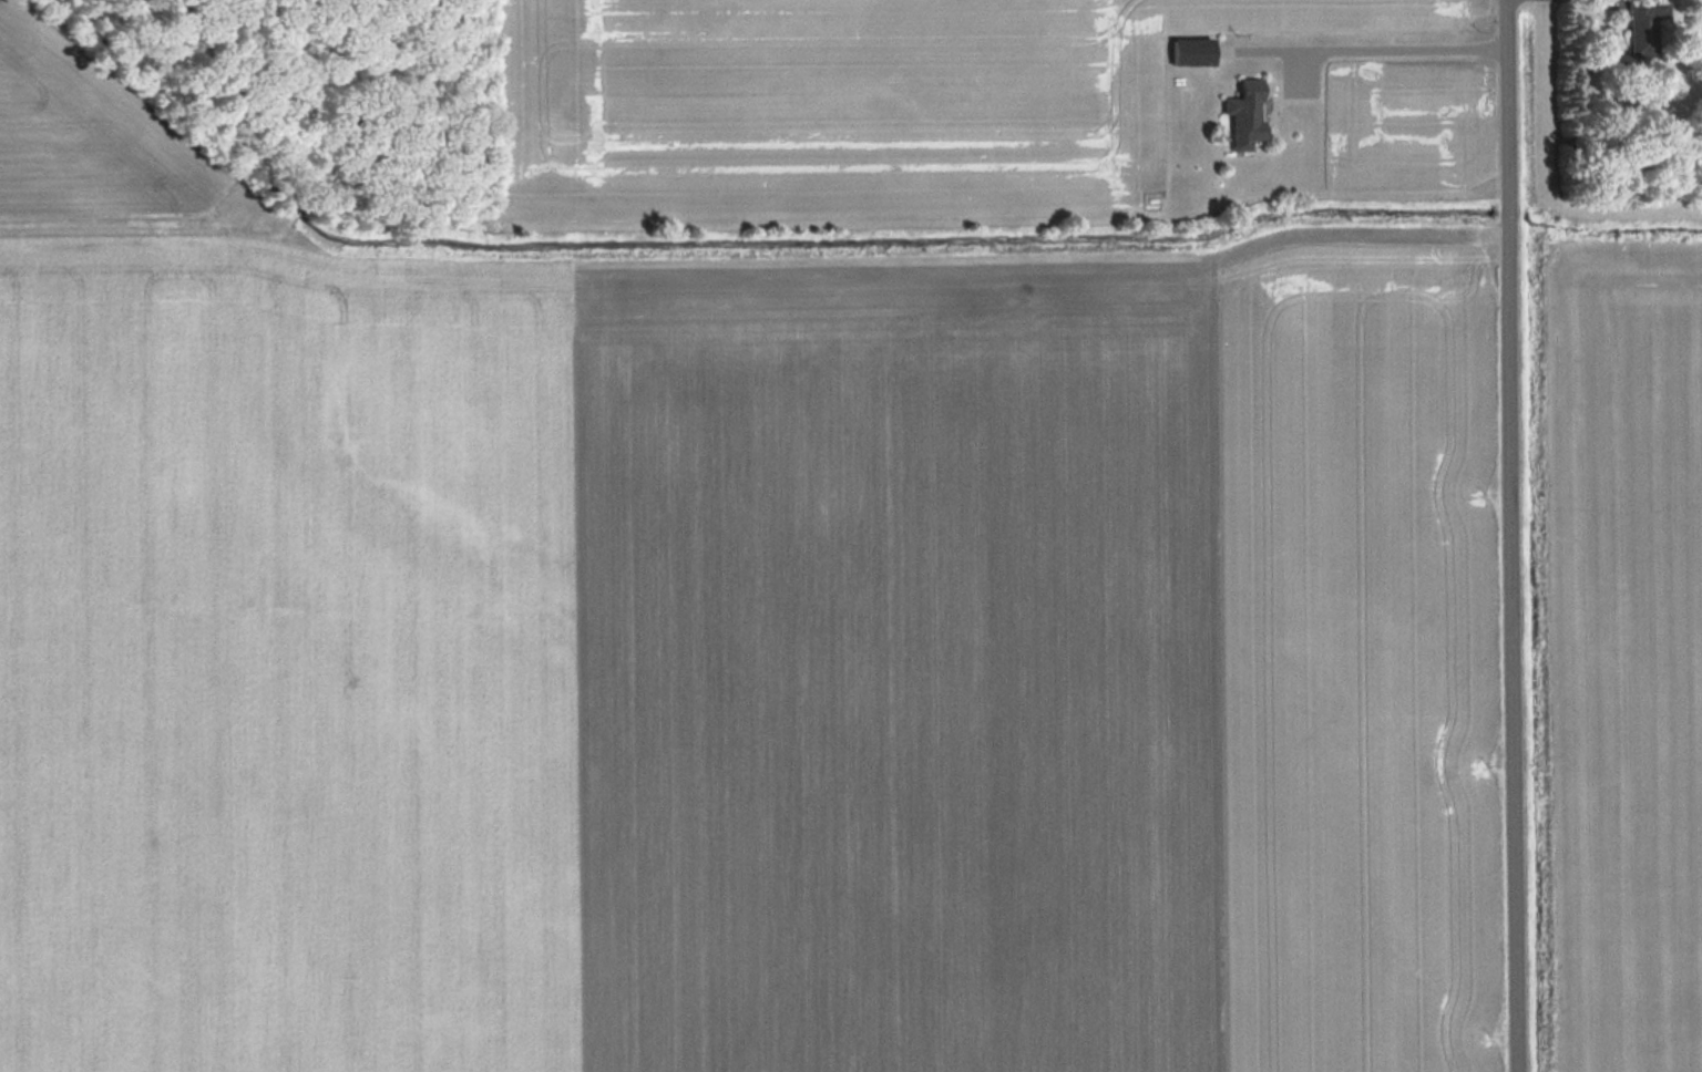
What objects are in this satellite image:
building: (1640, 27)
road: (1385, 49)
building: (1192, 52)
building: (1244, 115)
road: (1514, 536)

